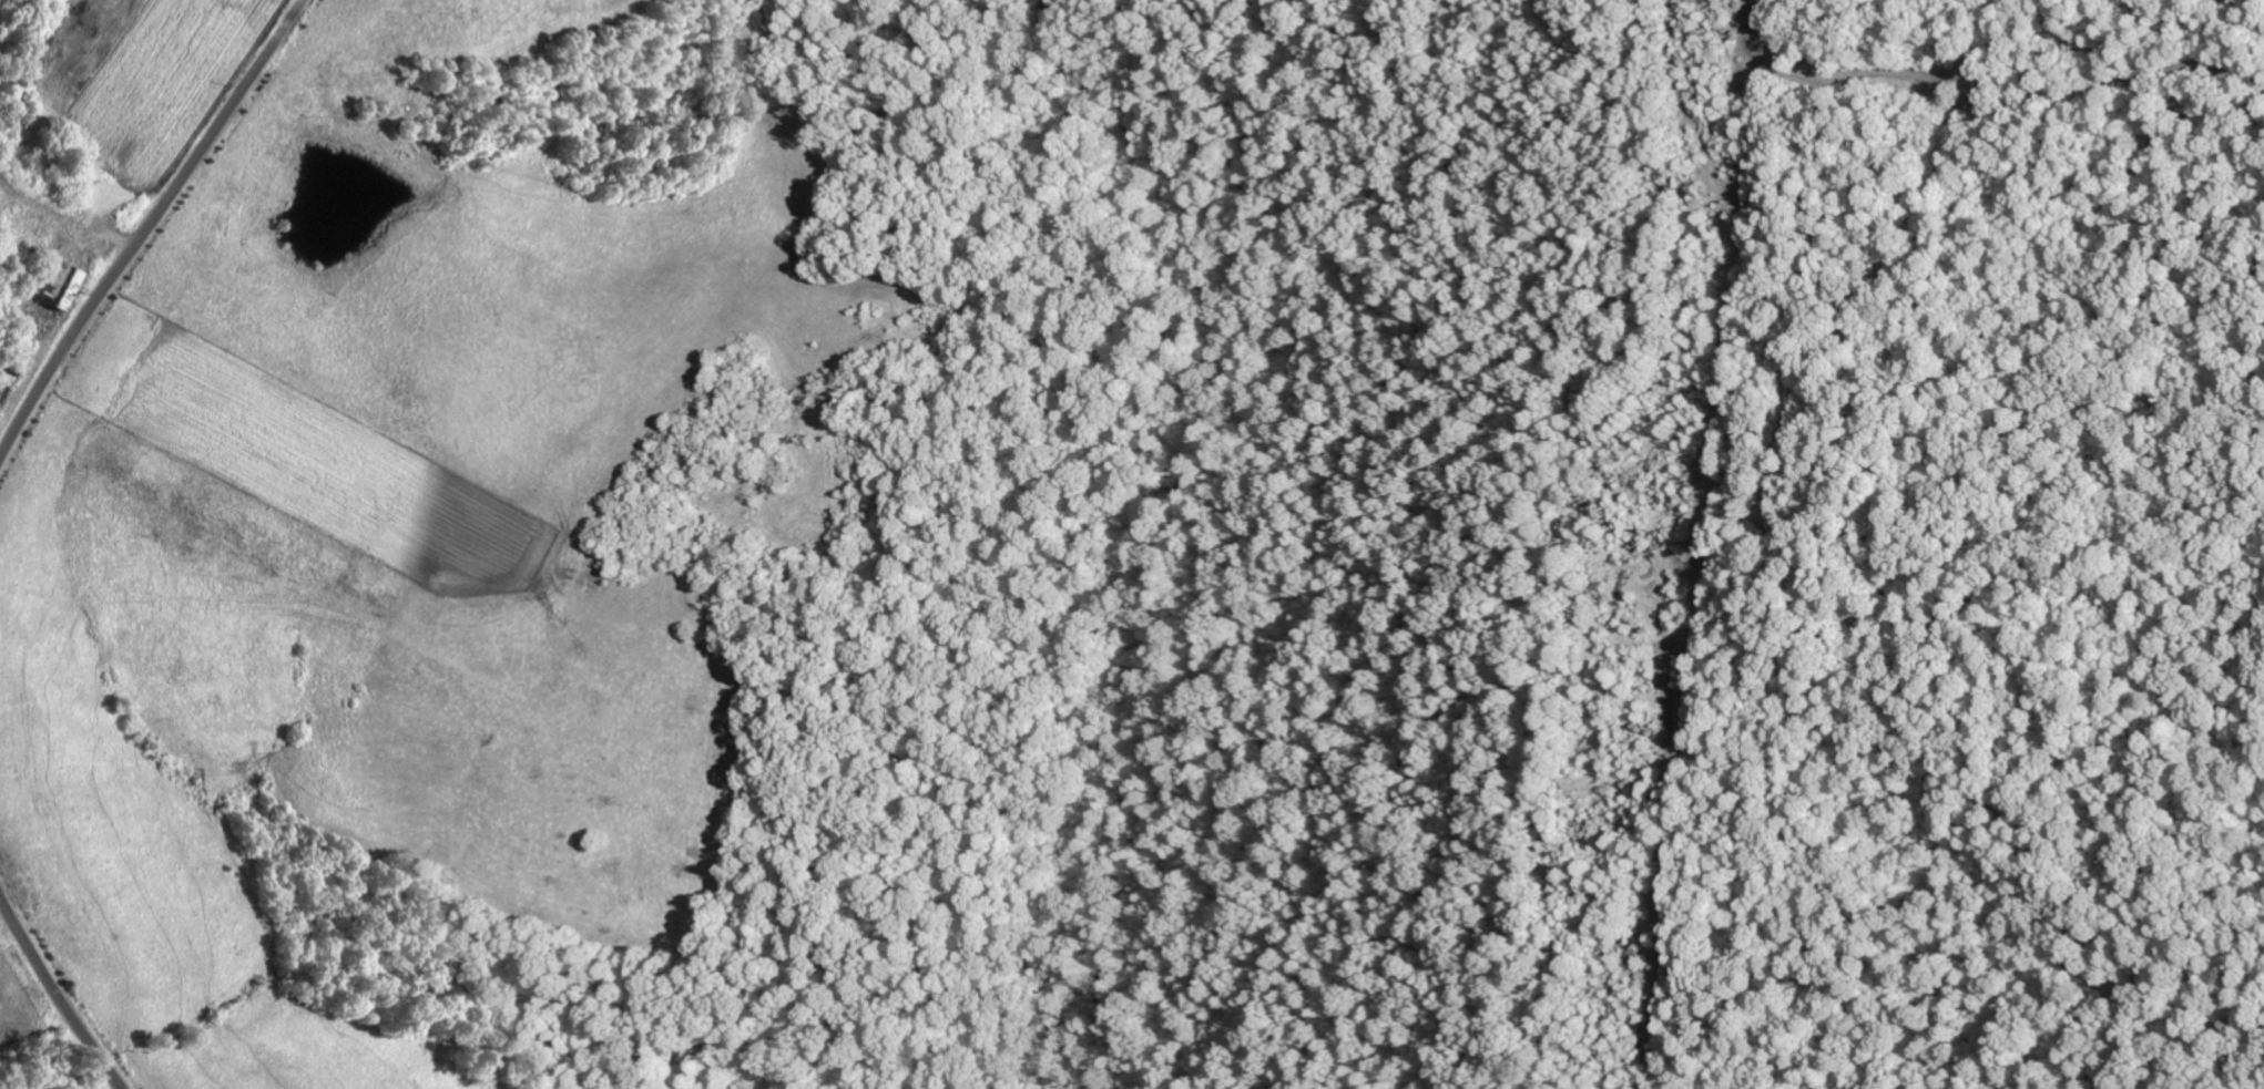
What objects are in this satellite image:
road: (149, 227)
building: (58, 282)
road: (55, 995)

